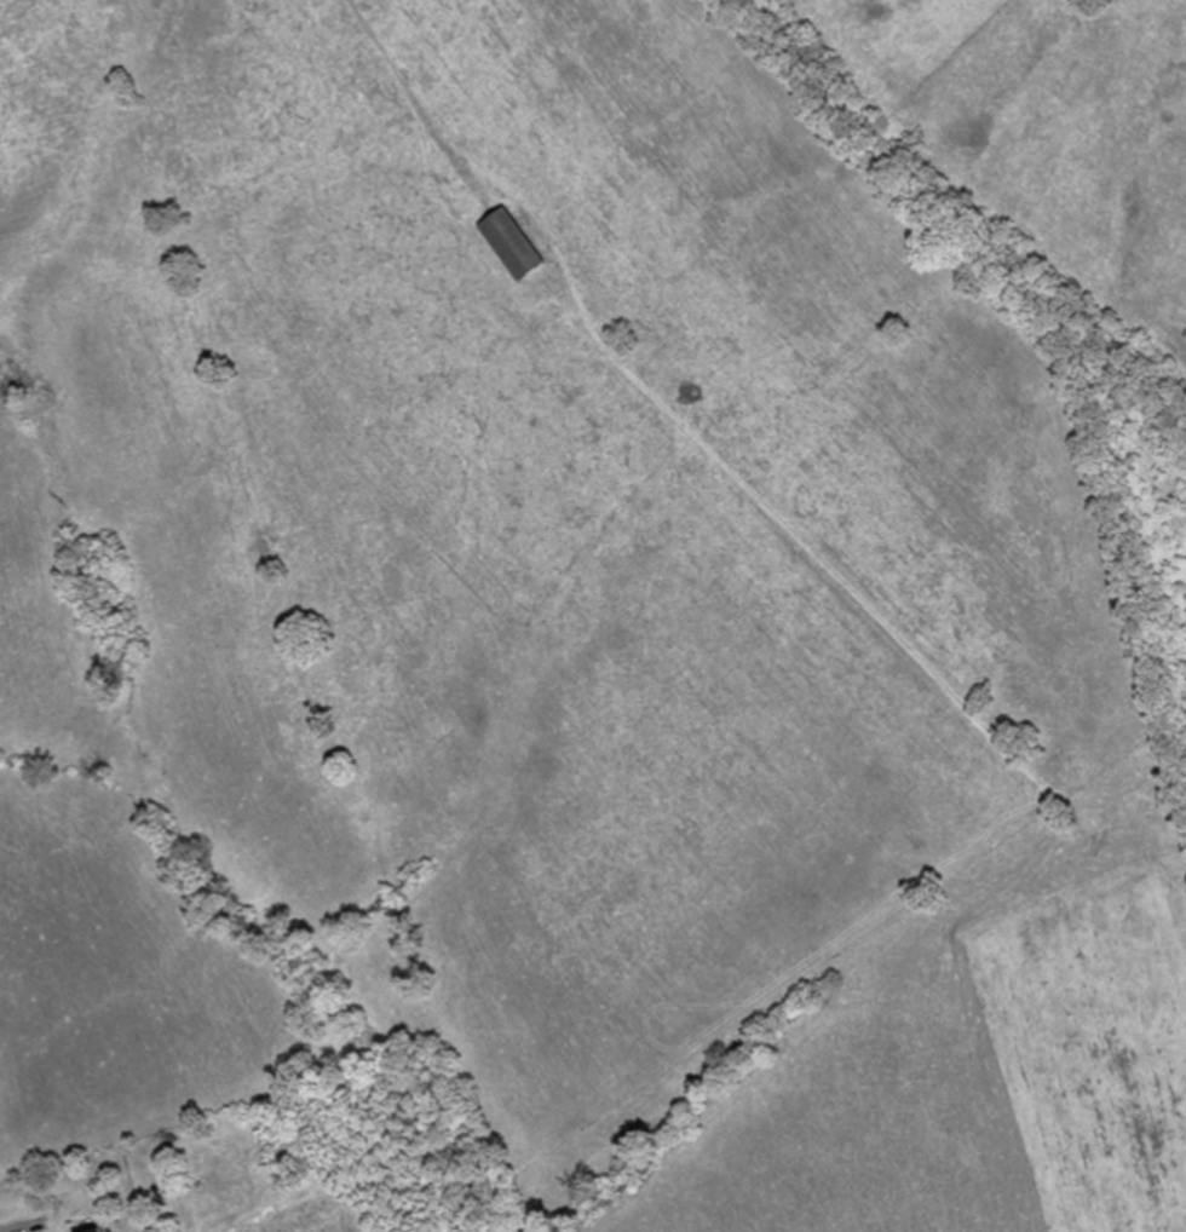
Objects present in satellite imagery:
building: (508, 241)
building: (90, 1230)

